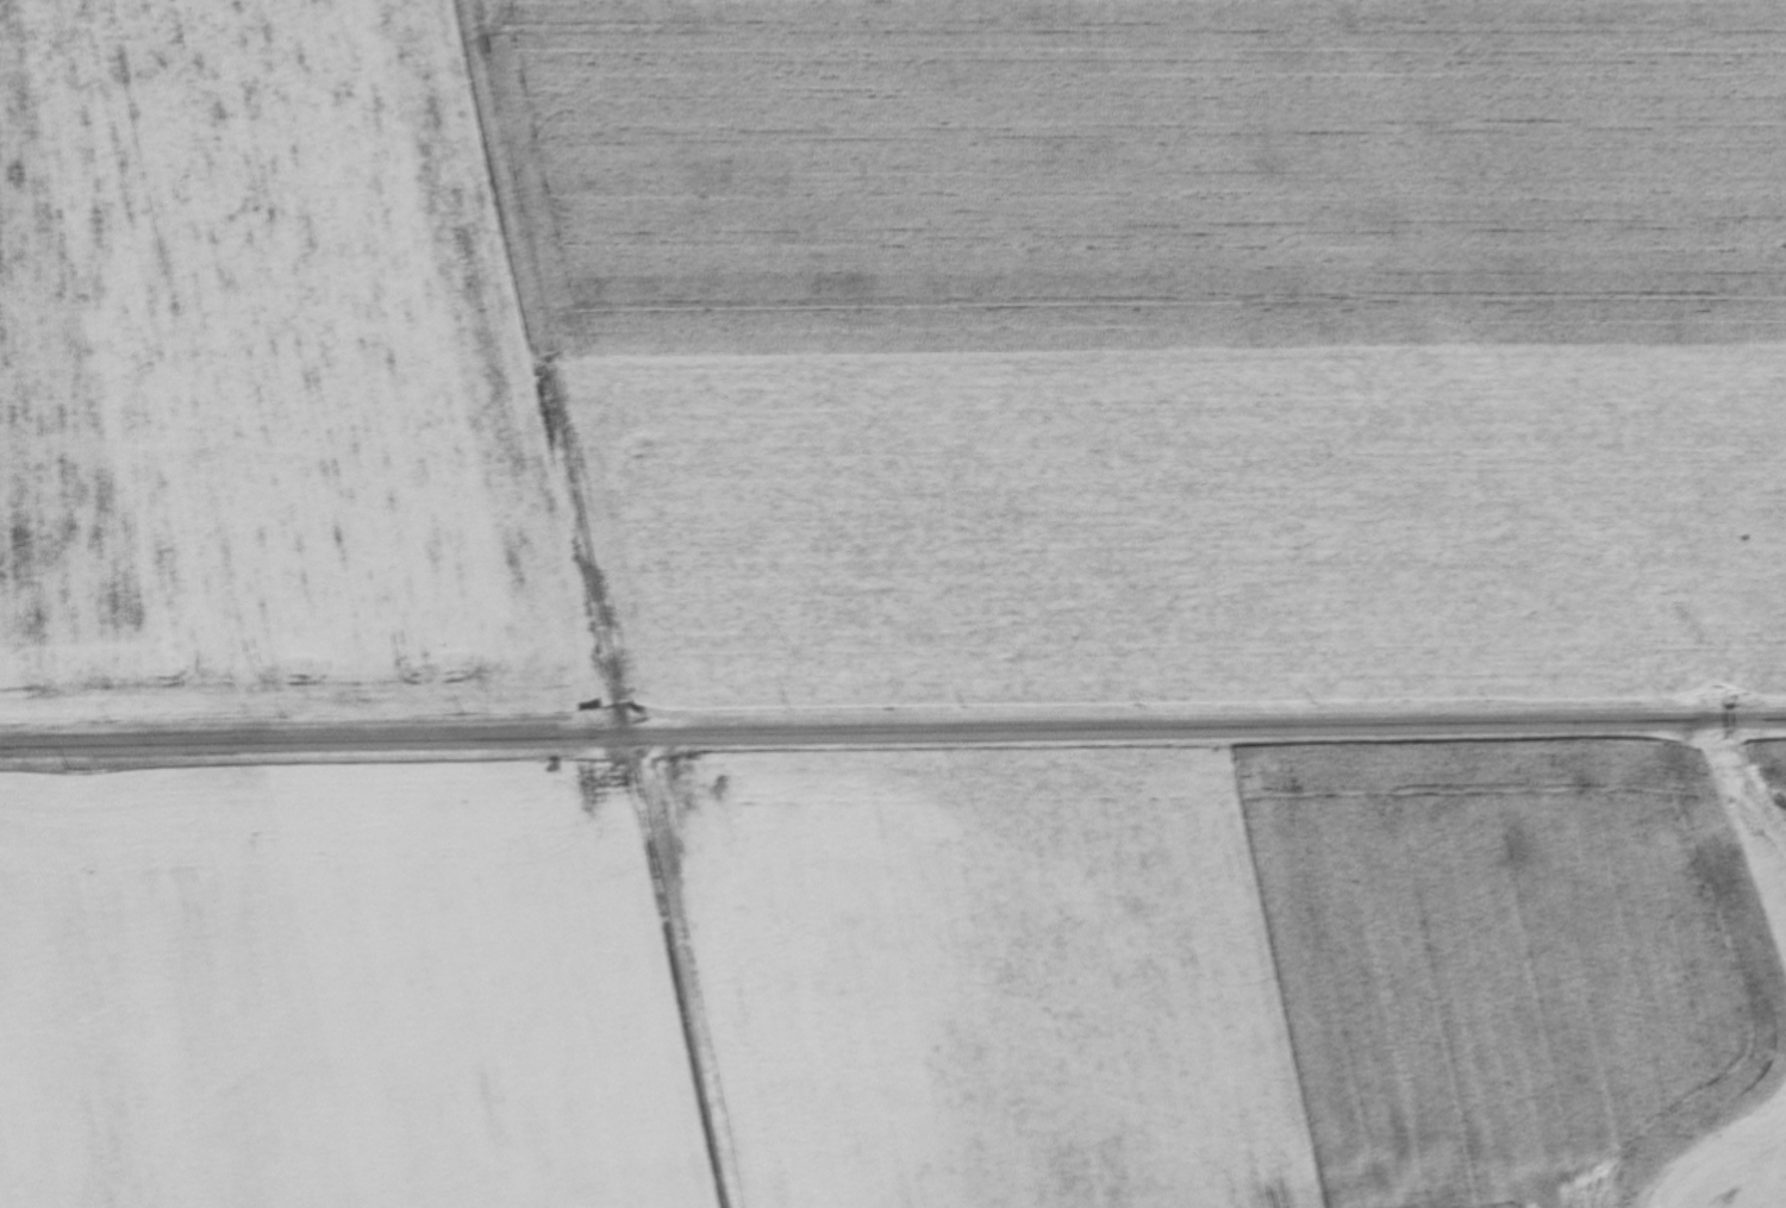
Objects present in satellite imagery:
road: (892, 733)

